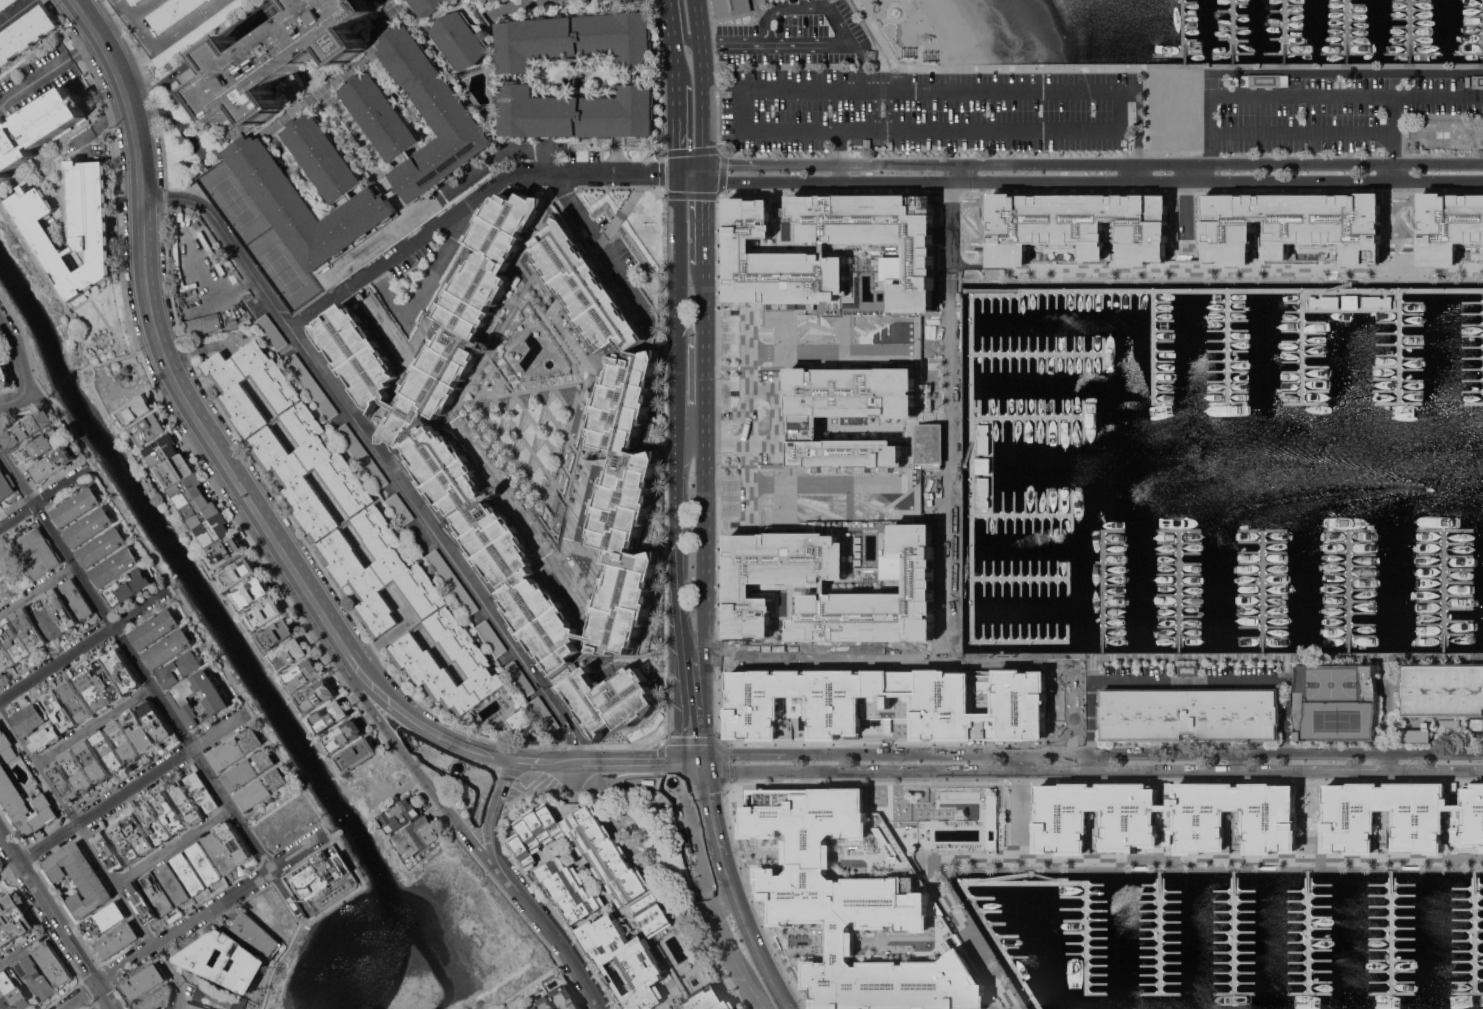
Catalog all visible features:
building: (492, 0)
building: (496, 0)
building: (504, 0)
building: (762, 1)
building: (134, 2)
building: (6, 5)
building: (430, 7)
road: (519, 7)
building: (731, 7)
road: (16, 12)
building: (170, 12)
road: (135, 14)
road: (668, 15)
road: (767, 19)
pier: (1183, 31)
pier: (1231, 31)
pier: (1283, 31)
pier: (1345, 31)
pier: (1408, 31)
building: (26, 34)
road: (685, 38)
building: (462, 39)
pier: (1482, 41)
road: (733, 42)
road: (881, 42)
road: (201, 52)
road: (674, 52)
building: (871, 55)
building: (277, 58)
road: (1189, 65)
road: (49, 71)
building: (519, 76)
road: (714, 76)
building: (1265, 80)
building: (1468, 81)
building: (1477, 81)
road: (704, 82)
road: (1022, 89)
road: (1395, 95)
road: (1311, 98)
parking lot: (926, 109)
parking lot: (1343, 112)
road: (678, 122)
road: (1214, 126)
building: (38, 128)
road: (1304, 132)
building: (1450, 133)
road: (503, 151)
road: (838, 155)
traffic signals: (704, 165)
road: (1093, 165)
road: (691, 169)
traffic signals: (679, 173)
road: (704, 173)
building: (347, 177)
road: (691, 177)
traffic signals: (704, 182)
road: (1093, 182)
park: (239, 201)
road: (469, 204)
building: (193, 217)
road: (962, 219)
building: (196, 224)
building: (1448, 225)
building: (72, 226)
building: (1081, 226)
building: (1292, 226)
road: (704, 228)
building: (831, 250)
park: (288, 267)
road: (1216, 271)
road: (621, 276)
road: (428, 282)
pier: (1335, 285)
building: (583, 286)
pier: (1221, 290)
road: (68, 314)
pier: (1482, 318)
building: (201, 325)
building: (271, 331)
building: (235, 334)
pier: (1152, 345)
pier: (1226, 345)
pier: (1397, 345)
pier: (1299, 346)
pier: (1035, 351)
road: (16, 352)
road: (745, 357)
building: (3, 359)
building: (359, 359)
building: (4, 377)
building: (311, 385)
road: (12, 398)
road: (679, 399)
building: (135, 410)
pier: (1026, 416)
building: (856, 417)
road: (778, 418)
road: (732, 421)
building: (28, 428)
building: (149, 429)
road: (692, 429)
road: (711, 429)
road: (204, 432)
road: (732, 437)
building: (39, 446)
building: (162, 451)
building: (362, 456)
road: (381, 457)
building: (54, 463)
road: (89, 466)
building: (174, 472)
road: (746, 474)
road: (16, 475)
building: (5, 486)
building: (188, 490)
building: (627, 495)
road: (43, 496)
building: (76, 506)
building: (400, 508)
pier: (971, 511)
building: (201, 512)
pier: (1019, 513)
road: (705, 519)
building: (89, 526)
building: (375, 527)
building: (213, 530)
building: (102, 546)
building: (490, 547)
building: (226, 551)
building: (38, 552)
building: (115, 566)
building: (238, 572)
pier: (1017, 576)
building: (451, 581)
building: (129, 587)
building: (832, 587)
pier: (1348, 590)
road: (38, 591)
road: (169, 591)
pier: (1101, 591)
pier: (1178, 591)
pier: (1261, 591)
pier: (1443, 591)
building: (252, 593)
building: (77, 598)
building: (62, 609)
road: (184, 610)
building: (265, 613)
building: (47, 620)
building: (31, 628)
building: (155, 628)
building: (278, 633)
building: (491, 637)
building: (15, 639)
road: (83, 646)
building: (168, 649)
building: (291, 653)
building: (6, 656)
road: (1028, 656)
building: (180, 668)
building: (123, 669)
building: (1, 673)
building: (304, 674)
building: (1071, 677)
building: (519, 678)
road: (1189, 679)
building: (108, 680)
park: (1334, 683)
building: (92, 690)
building: (1444, 692)
road: (681, 694)
building: (318, 695)
building: (78, 700)
building: (217, 701)
building: (609, 702)
building: (1335, 702)
building: (888, 704)
road: (168, 709)
building: (61, 710)
road: (246, 713)
building: (544, 714)
building: (1189, 714)
building: (331, 715)
building: (29, 718)
building: (156, 720)
building: (521, 720)
park: (1339, 720)
road: (95, 725)
building: (1449, 729)
building: (140, 730)
building: (345, 734)
building: (1412, 736)
building: (46, 738)
building: (125, 740)
building: (7, 746)
building: (236, 749)
building: (108, 750)
road: (1092, 754)
building: (358, 755)
building: (93, 760)
road: (1020, 762)
road: (1175, 762)
road: (1388, 762)
road: (1093, 763)
road: (693, 764)
traffic signals: (705, 764)
traffic signals: (682, 765)
road: (594, 767)
building: (249, 769)
building: (78, 770)
road: (416, 770)
road: (821, 770)
road: (980, 771)
road: (1164, 771)
road: (1348, 771)
road: (1436, 771)
building: (64, 781)
road: (130, 787)
building: (262, 789)
building: (202, 791)
building: (187, 802)
building: (25, 804)
road: (713, 809)
road: (492, 810)
building: (171, 811)
building: (400, 815)
building: (156, 822)
building: (1481, 822)
road: (78, 825)
building: (1222, 836)
building: (1370, 836)
building: (132, 837)
building: (417, 837)
building: (1083, 838)
building: (234, 841)
road: (287, 844)
road: (173, 846)
building: (109, 851)
building: (219, 852)
building: (341, 862)
building: (204, 863)
road: (726, 866)
road: (9, 868)
building: (188, 873)
building: (316, 875)
road: (701, 876)
building: (79, 878)
building: (173, 883)
building: (157, 893)
building: (143, 902)
building: (606, 902)
building: (853, 910)
building: (105, 918)
building: (13, 919)
road: (57, 919)
pier: (1048, 927)
pier: (1316, 931)
pier: (1474, 931)
road: (550, 932)
pier: (1113, 932)
pier: (1178, 932)
pier: (1242, 932)
pier: (1390, 932)
building: (256, 933)
road: (164, 938)
building: (117, 939)
road: (757, 946)
building: (0, 951)
road: (18, 951)
building: (225, 960)
road: (277, 961)
building: (53, 963)
road: (175, 975)
building: (35, 977)
building: (144, 981)
road: (528, 984)
building: (12, 993)
road: (756, 995)
building: (219, 996)
building: (157, 998)
building: (566, 998)
building: (545, 1003)
building: (193, 1006)
building: (528, 1008)

